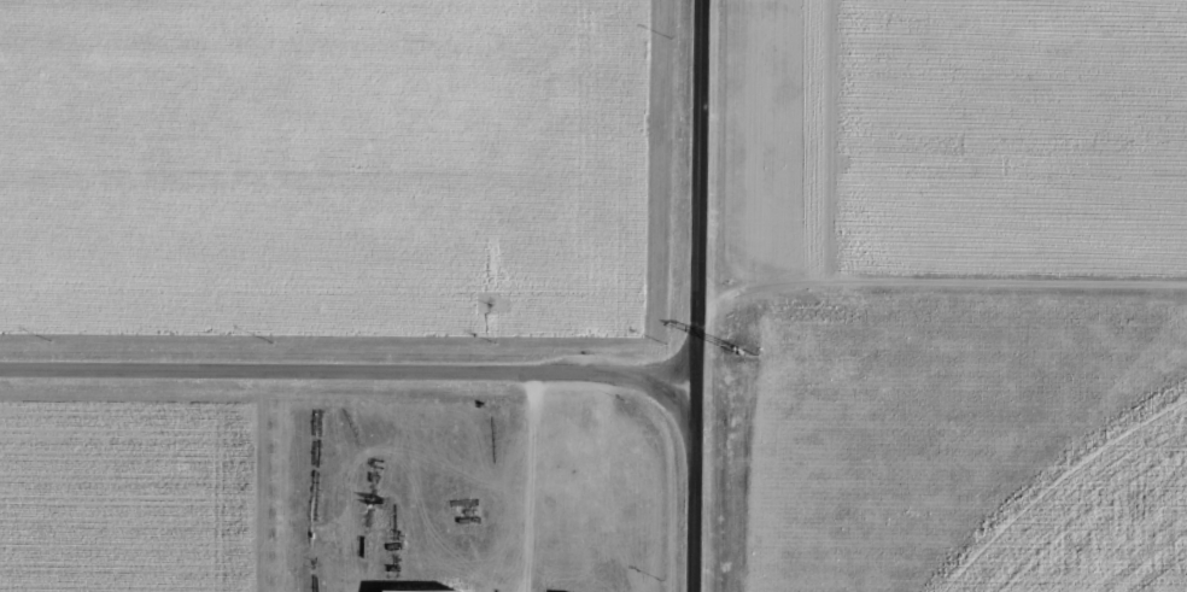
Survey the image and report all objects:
road: (709, 295)
road: (948, 301)
power tower: (753, 354)
road: (355, 368)
building: (423, 590)

